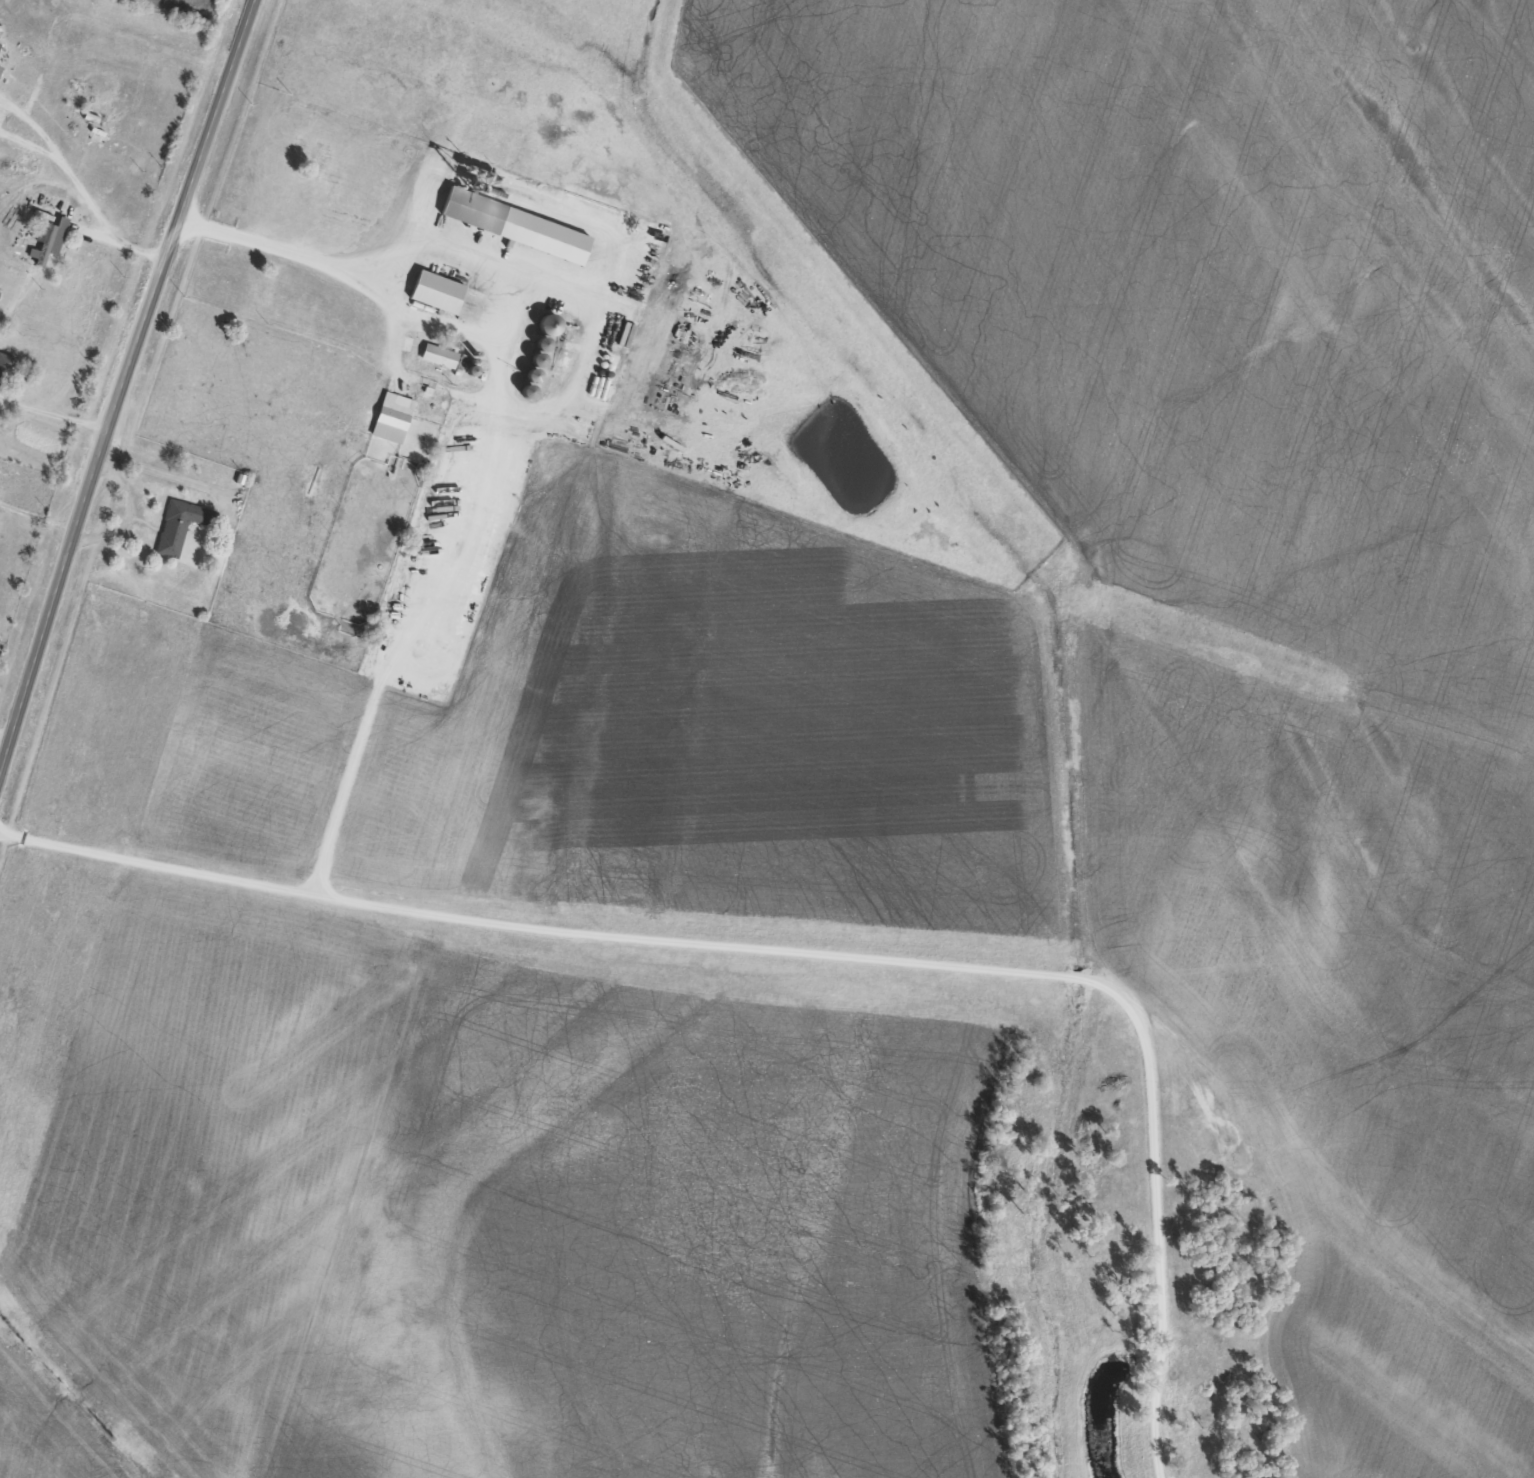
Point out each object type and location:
building: (84, 115)
building: (474, 210)
building: (47, 239)
road: (290, 253)
building: (437, 291)
building: (550, 324)
building: (544, 343)
building: (439, 355)
building: (539, 359)
building: (6, 369)
building: (534, 375)
road: (123, 382)
building: (528, 391)
building: (180, 525)
road: (808, 953)

